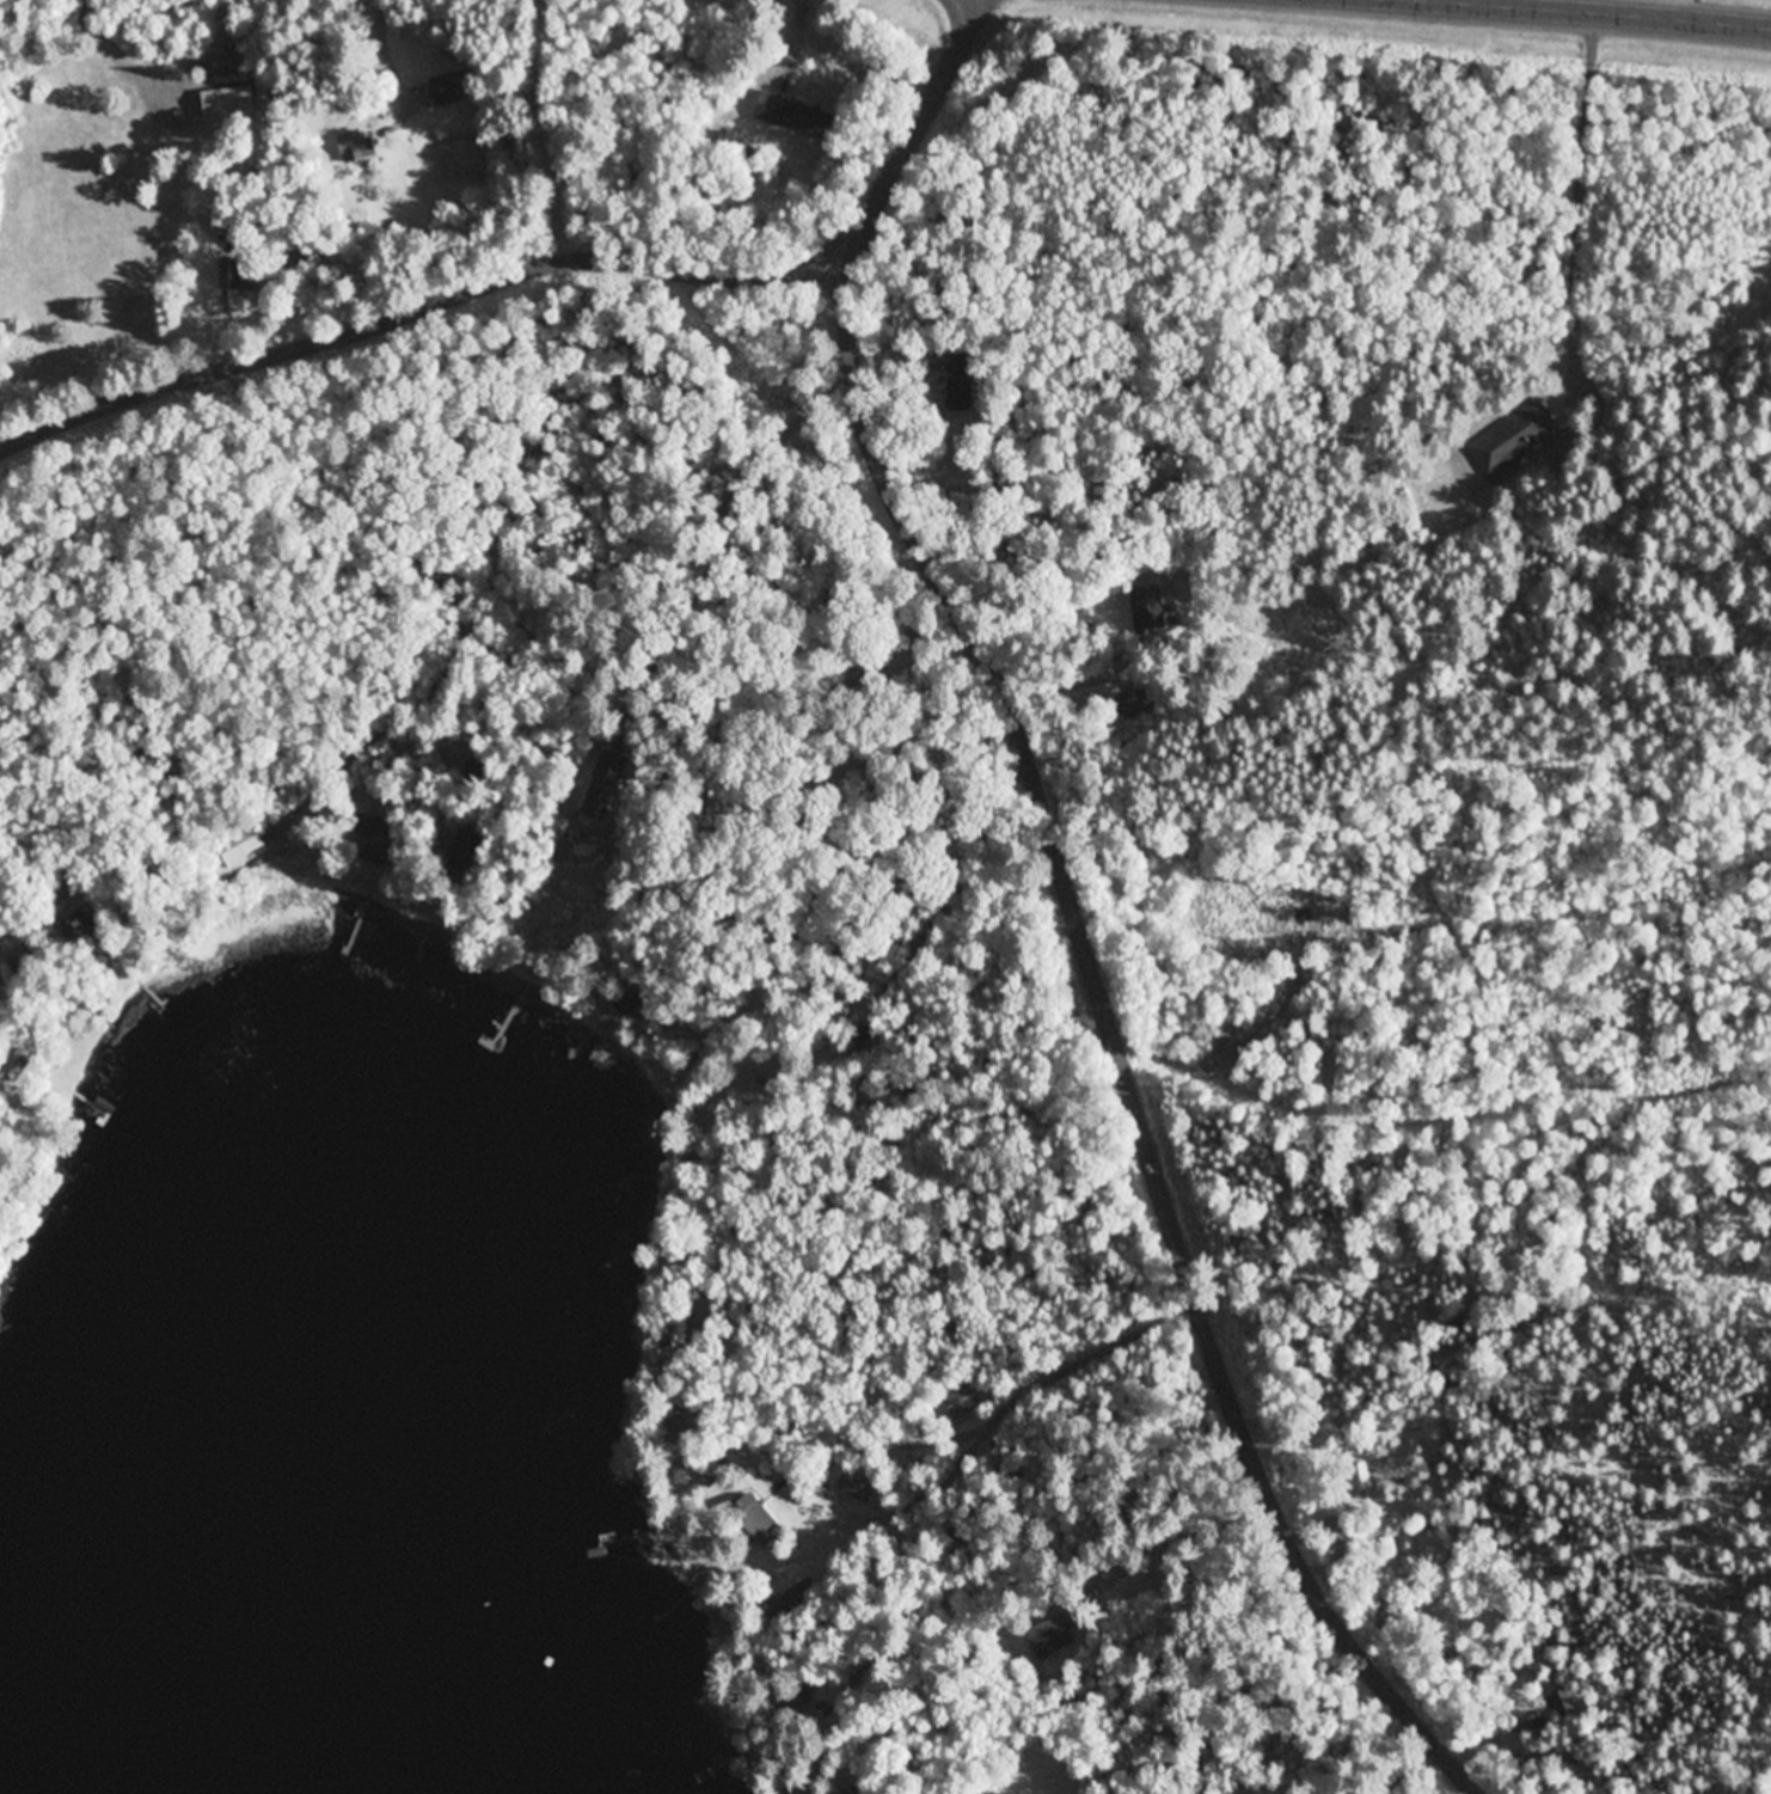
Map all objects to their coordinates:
road: (1583, 13)
road: (969, 37)
road: (796, 42)
road: (1450, 43)
road: (381, 53)
road: (124, 57)
road: (178, 84)
building: (448, 91)
building: (227, 103)
road: (1580, 235)
road: (225, 306)
road: (421, 312)
road: (888, 355)
building: (1514, 435)
road: (723, 535)
road: (422, 595)
building: (1146, 605)
road: (1064, 682)
road: (796, 797)
road: (943, 911)
road: (1074, 911)
road: (43, 923)
road: (26, 1008)
road: (988, 1408)
road: (770, 1456)
building: (847, 1483)
road: (1328, 1513)
building: (957, 1526)
building: (988, 1535)
road: (999, 1548)
road: (1003, 1557)
road: (970, 1569)
road: (989, 1579)
road: (1074, 1585)
road: (1122, 1631)
building: (1055, 1633)
road: (1181, 1672)
building: (797, 1686)
road: (1021, 1689)
road: (1238, 1694)
road: (821, 1703)
road: (1019, 1714)
road: (750, 1734)
road: (797, 1753)
road: (789, 1756)
road: (1405, 1769)
building: (856, 1789)
road: (789, 1793)

